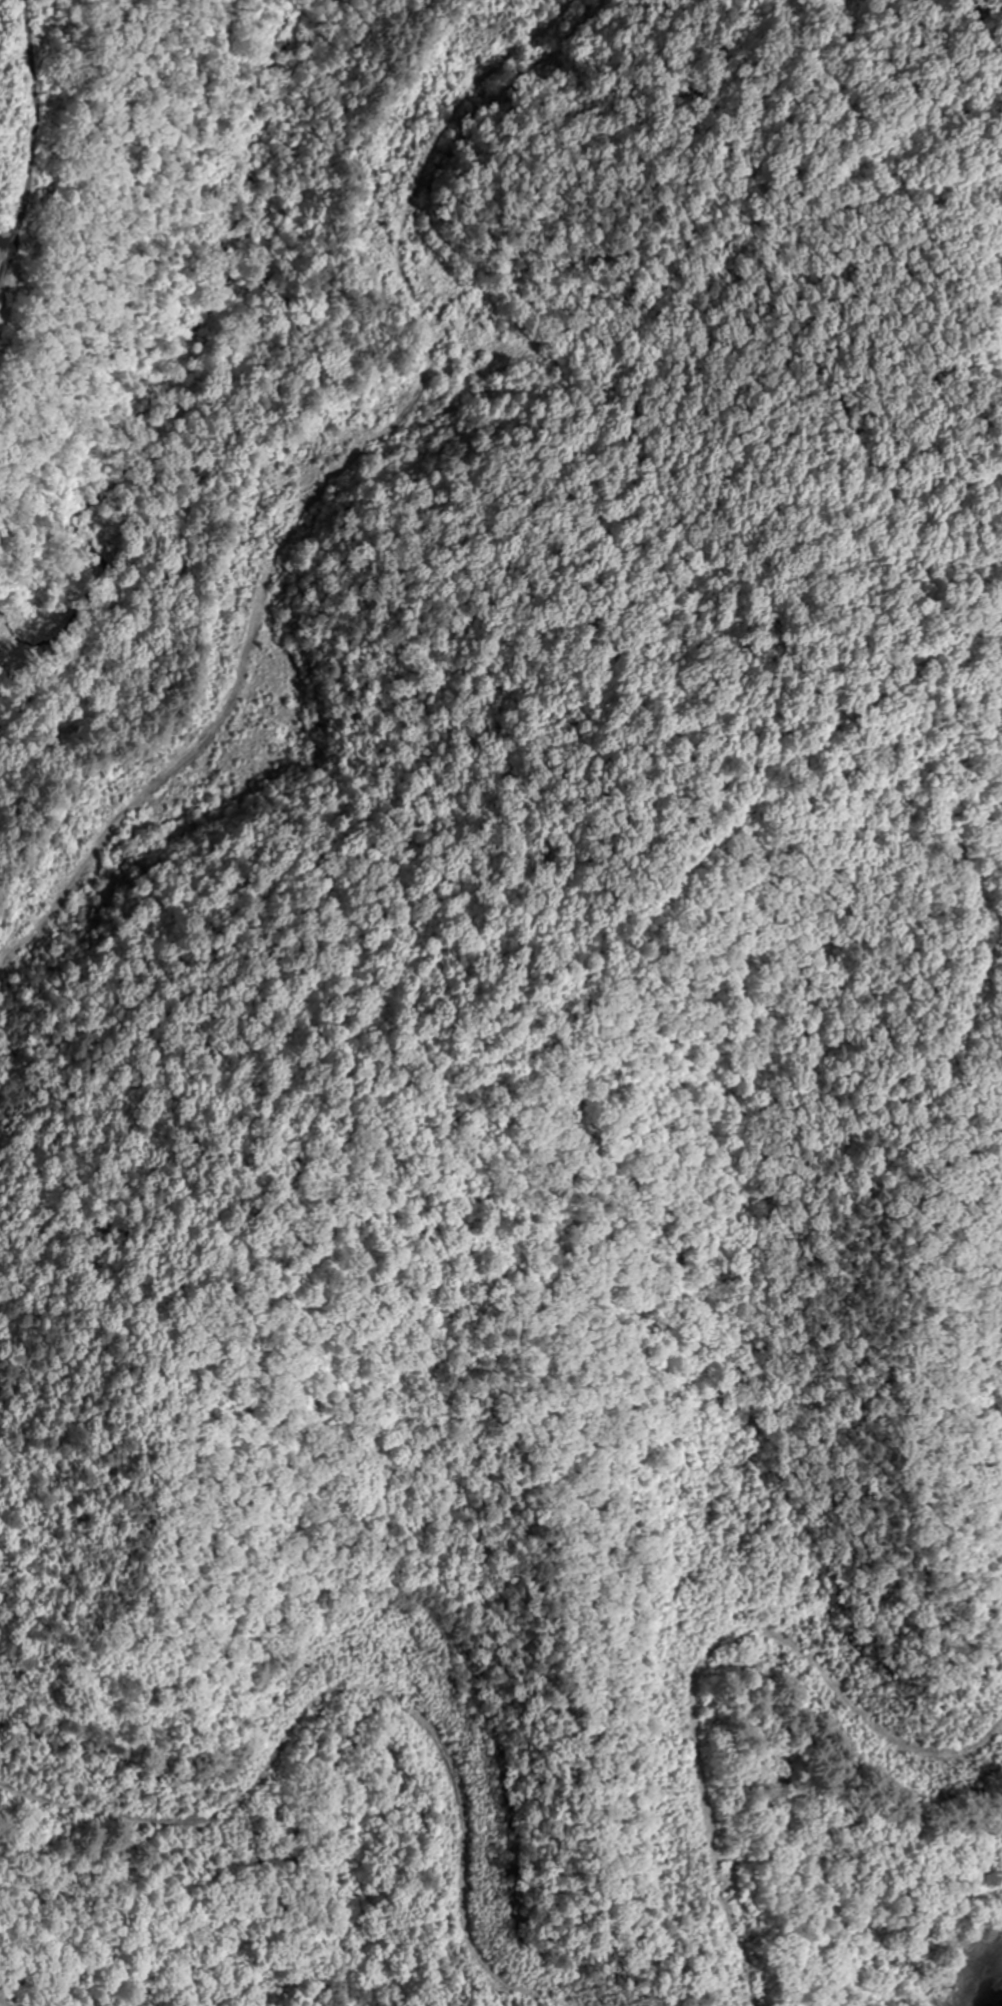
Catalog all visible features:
road: (1, 78)

